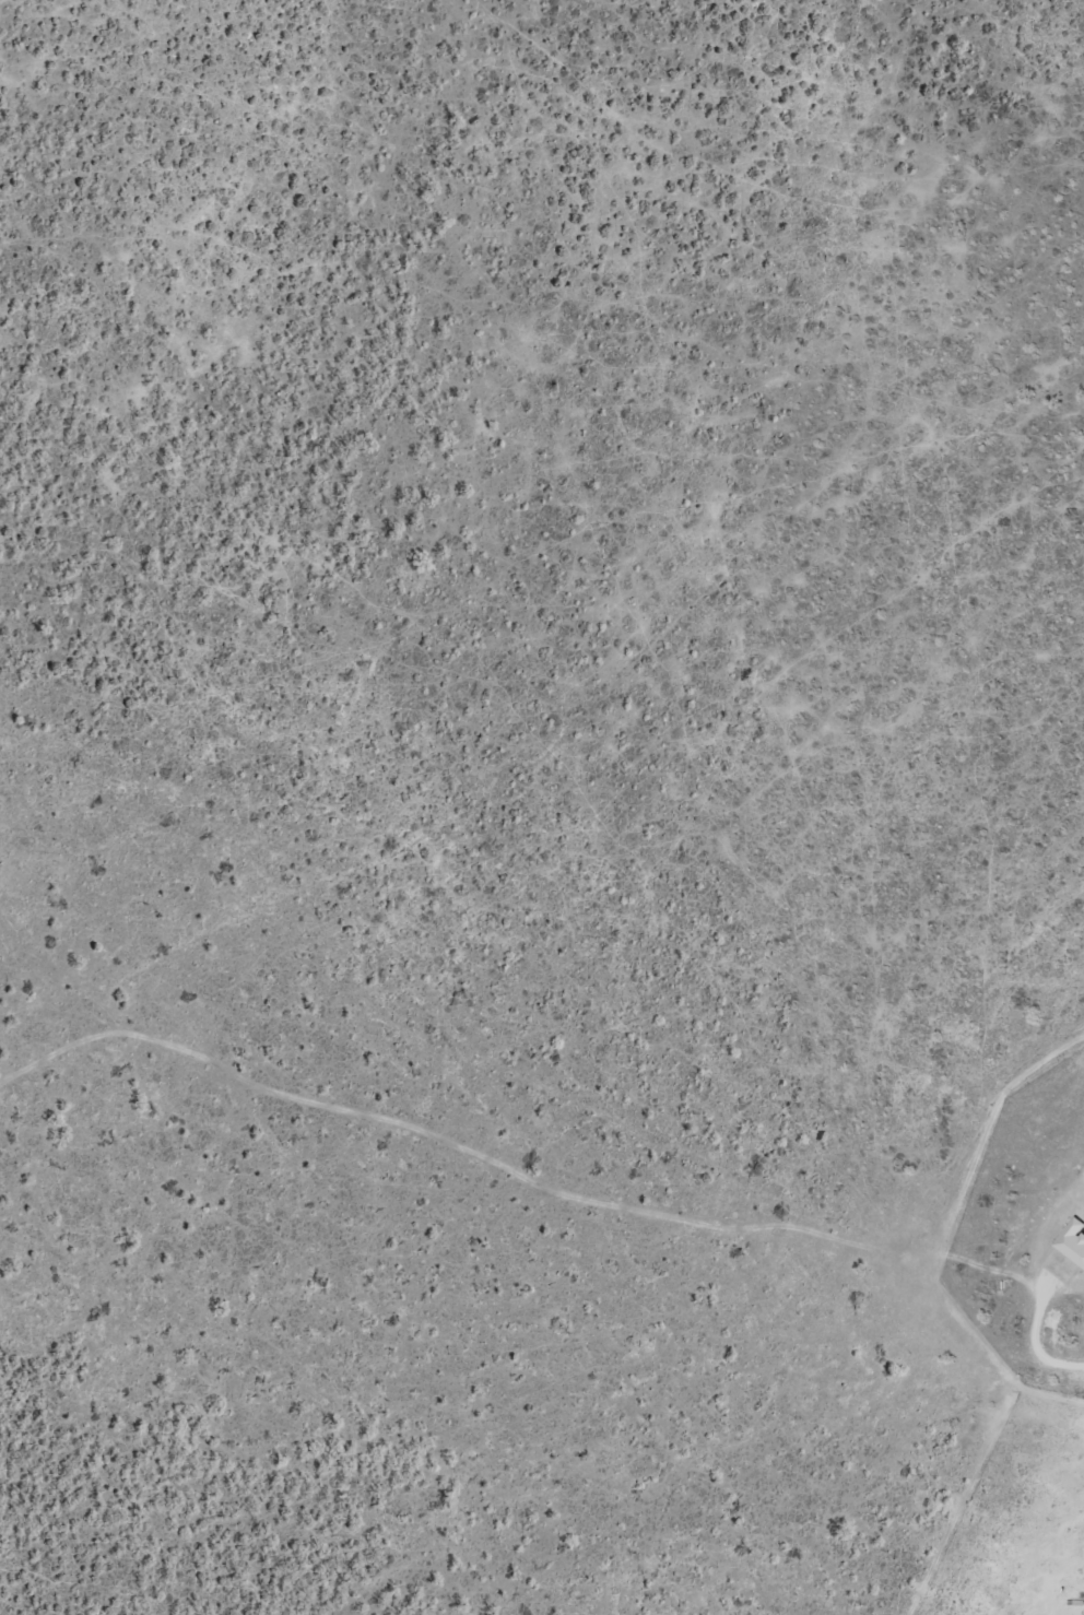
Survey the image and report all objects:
building: (1072, 1240)
road: (1030, 1334)

